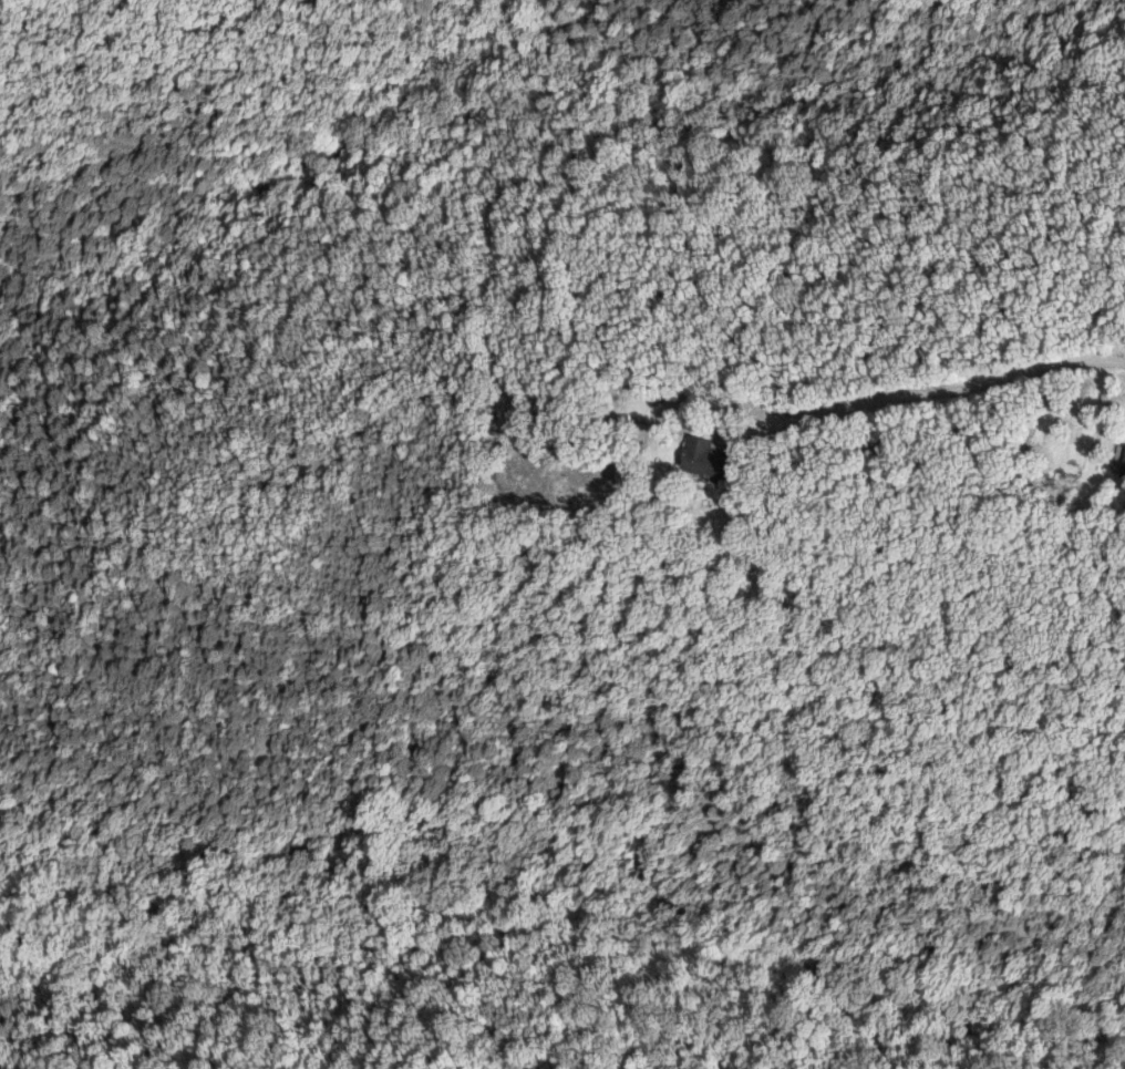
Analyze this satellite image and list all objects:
road: (908, 398)
building: (703, 458)
building: (1123, 474)

